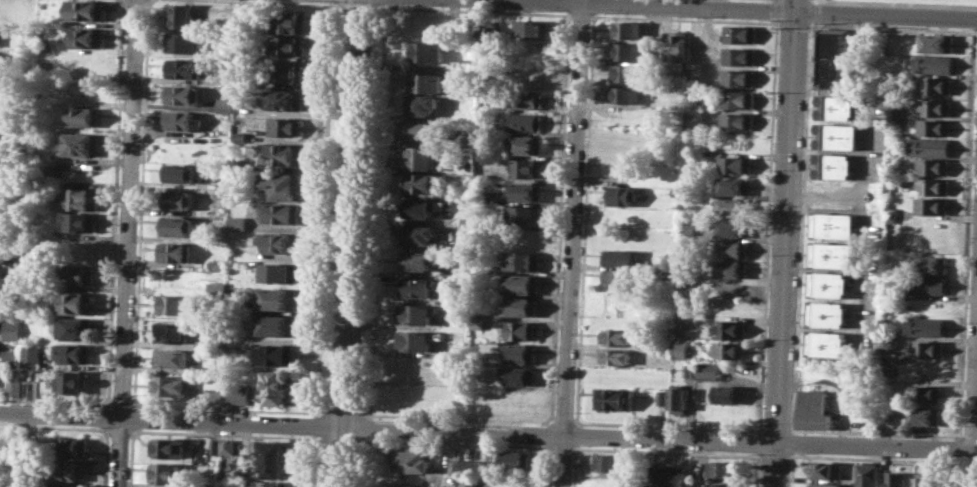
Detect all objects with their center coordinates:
road: (385, 1)
road: (812, 1)
road: (894, 3)
road: (715, 5)
building: (87, 9)
road: (730, 10)
road: (811, 11)
traffic signals: (797, 12)
building: (183, 15)
building: (290, 22)
building: (425, 26)
building: (530, 29)
building: (626, 30)
building: (741, 34)
building: (485, 35)
building: (89, 37)
building: (184, 42)
building: (938, 43)
building: (287, 46)
building: (676, 46)
building: (628, 51)
building: (427, 52)
building: (740, 56)
building: (833, 57)
building: (935, 64)
building: (184, 68)
building: (285, 71)
building: (626, 72)
building: (528, 75)
building: (740, 77)
building: (424, 82)
building: (937, 84)
building: (85, 91)
building: (183, 93)
building: (624, 93)
building: (525, 98)
building: (738, 99)
building: (286, 100)
building: (225, 105)
building: (421, 105)
building: (936, 106)
building: (838, 108)
building: (894, 112)
building: (84, 115)
building: (183, 120)
building: (737, 120)
building: (523, 121)
building: (935, 126)
building: (286, 127)
building: (424, 132)
building: (465, 136)
building: (839, 136)
building: (737, 142)
building: (81, 144)
building: (523, 145)
building: (929, 146)
building: (281, 154)
building: (421, 157)
building: (736, 164)
building: (835, 166)
building: (935, 166)
building: (525, 168)
building: (179, 173)
building: (420, 183)
building: (282, 185)
building: (735, 185)
building: (934, 186)
building: (524, 191)
building: (621, 195)
building: (79, 199)
building: (178, 199)
building: (735, 206)
building: (933, 206)
building: (419, 207)
road: (376, 210)
building: (281, 213)
building: (523, 214)
building: (80, 221)
building: (237, 222)
building: (178, 225)
building: (835, 225)
building: (734, 227)
road: (803, 227)
building: (417, 233)
building: (463, 240)
building: (281, 242)
road: (128, 243)
road: (347, 243)
road: (571, 243)
road: (787, 243)
building: (733, 249)
building: (174, 251)
building: (835, 254)
building: (619, 258)
building: (416, 259)
building: (519, 260)
building: (18, 261)
building: (218, 264)
building: (929, 264)
building: (732, 268)
building: (280, 272)
building: (80, 274)
building: (668, 275)
building: (616, 276)
building: (520, 283)
building: (830, 284)
building: (926, 284)
building: (415, 287)
building: (216, 288)
building: (279, 298)
building: (77, 302)
building: (172, 304)
building: (520, 306)
building: (415, 313)
building: (829, 314)
building: (475, 323)
building: (278, 324)
building: (925, 327)
building: (75, 328)
building: (731, 328)
building: (13, 330)
building: (519, 330)
building: (174, 332)
building: (615, 336)
building: (213, 338)
building: (417, 339)
building: (828, 343)
building: (888, 343)
building: (679, 348)
building: (729, 349)
building: (927, 349)
building: (74, 352)
building: (518, 352)
building: (276, 353)
building: (32, 356)
building: (11, 357)
building: (615, 357)
building: (171, 358)
building: (689, 370)
building: (709, 370)
building: (516, 375)
building: (74, 382)
road: (974, 383)
building: (171, 384)
building: (277, 385)
building: (15, 386)
building: (31, 389)
building: (925, 392)
building: (236, 393)
building: (729, 393)
building: (212, 396)
building: (662, 396)
building: (611, 398)
building: (679, 402)
building: (814, 409)
building: (924, 415)
road: (368, 428)
road: (488, 432)
road: (795, 442)
building: (71, 446)
building: (215, 446)
building: (227, 446)
building: (168, 447)
building: (273, 458)
building: (410, 458)
building: (514, 460)
road: (367, 462)
building: (612, 462)
building: (455, 465)
building: (470, 465)
building: (70, 468)
building: (725, 469)
road: (793, 469)
building: (825, 469)
building: (167, 473)
building: (868, 474)
building: (658, 475)
building: (678, 478)
building: (896, 479)
building: (925, 479)
building: (611, 481)
building: (469, 482)
building: (267, 483)
building: (67, 485)
building: (723, 485)
building: (825, 485)

